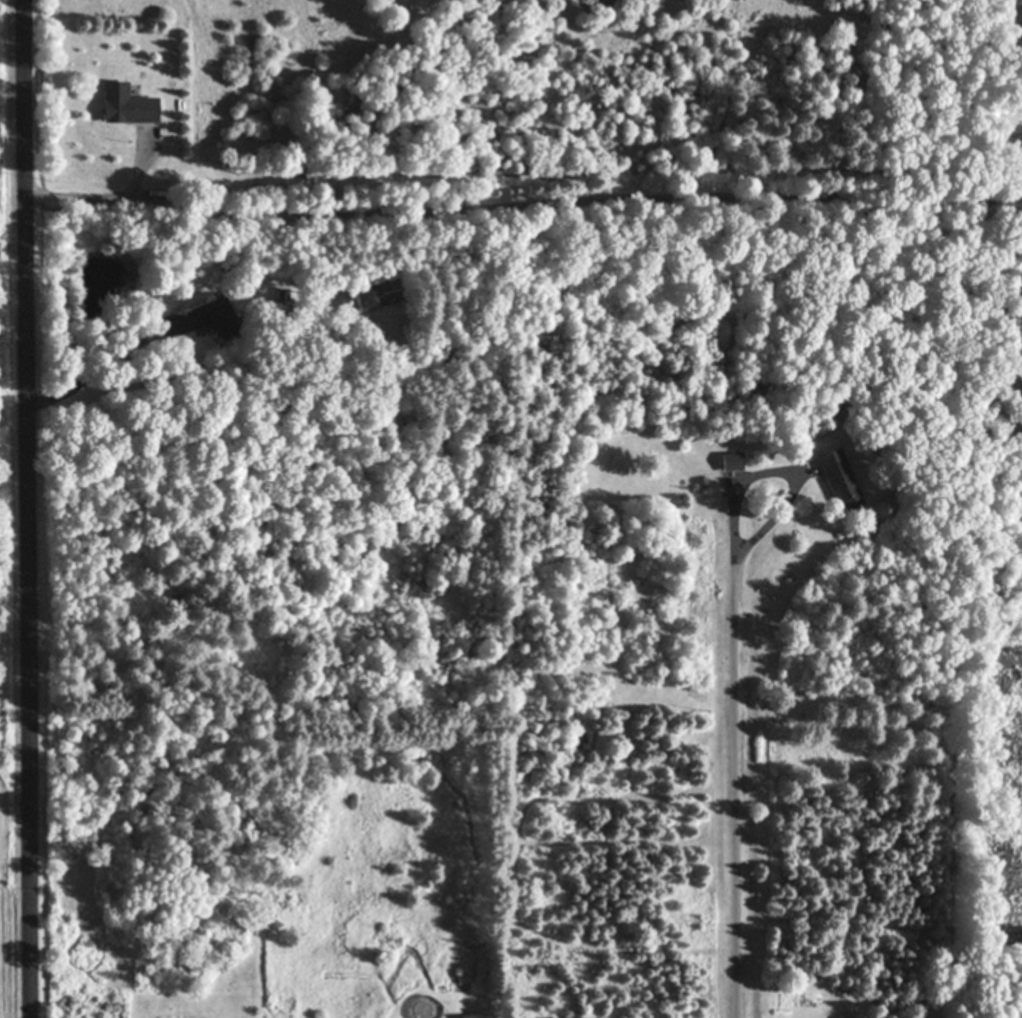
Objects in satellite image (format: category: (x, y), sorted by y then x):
building: (124, 106)
building: (380, 296)
building: (214, 318)
building: (731, 462)
building: (838, 479)
road: (29, 508)
building: (471, 1017)

